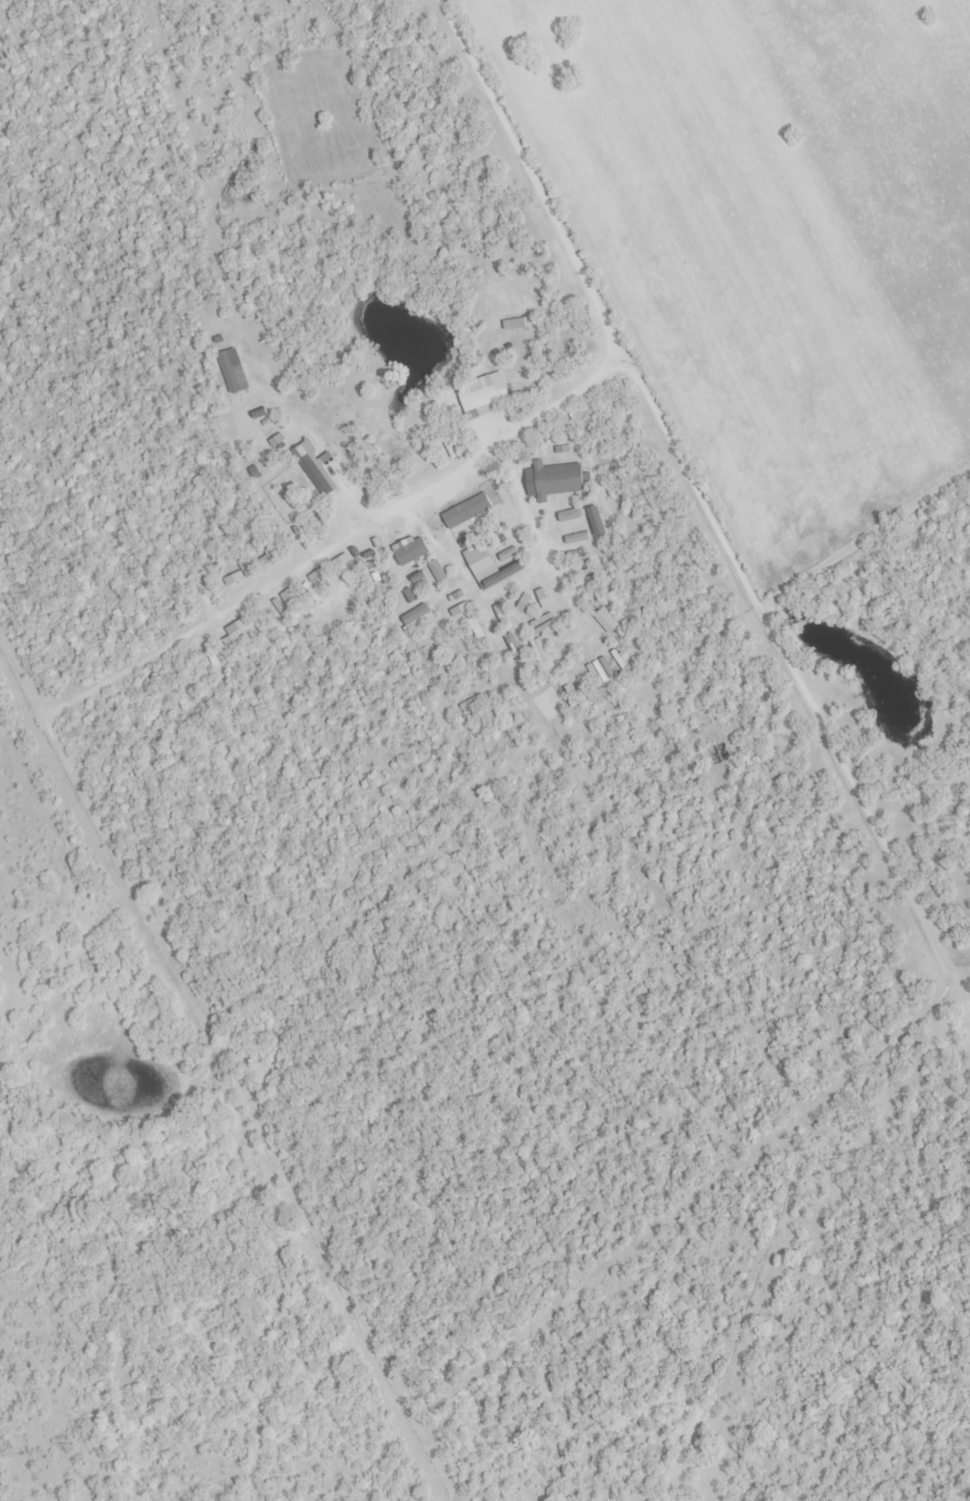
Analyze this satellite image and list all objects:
road: (581, 275)
building: (479, 399)
building: (316, 477)
building: (554, 481)
road: (516, 482)
building: (467, 512)
building: (411, 553)
building: (437, 573)
road: (244, 602)

